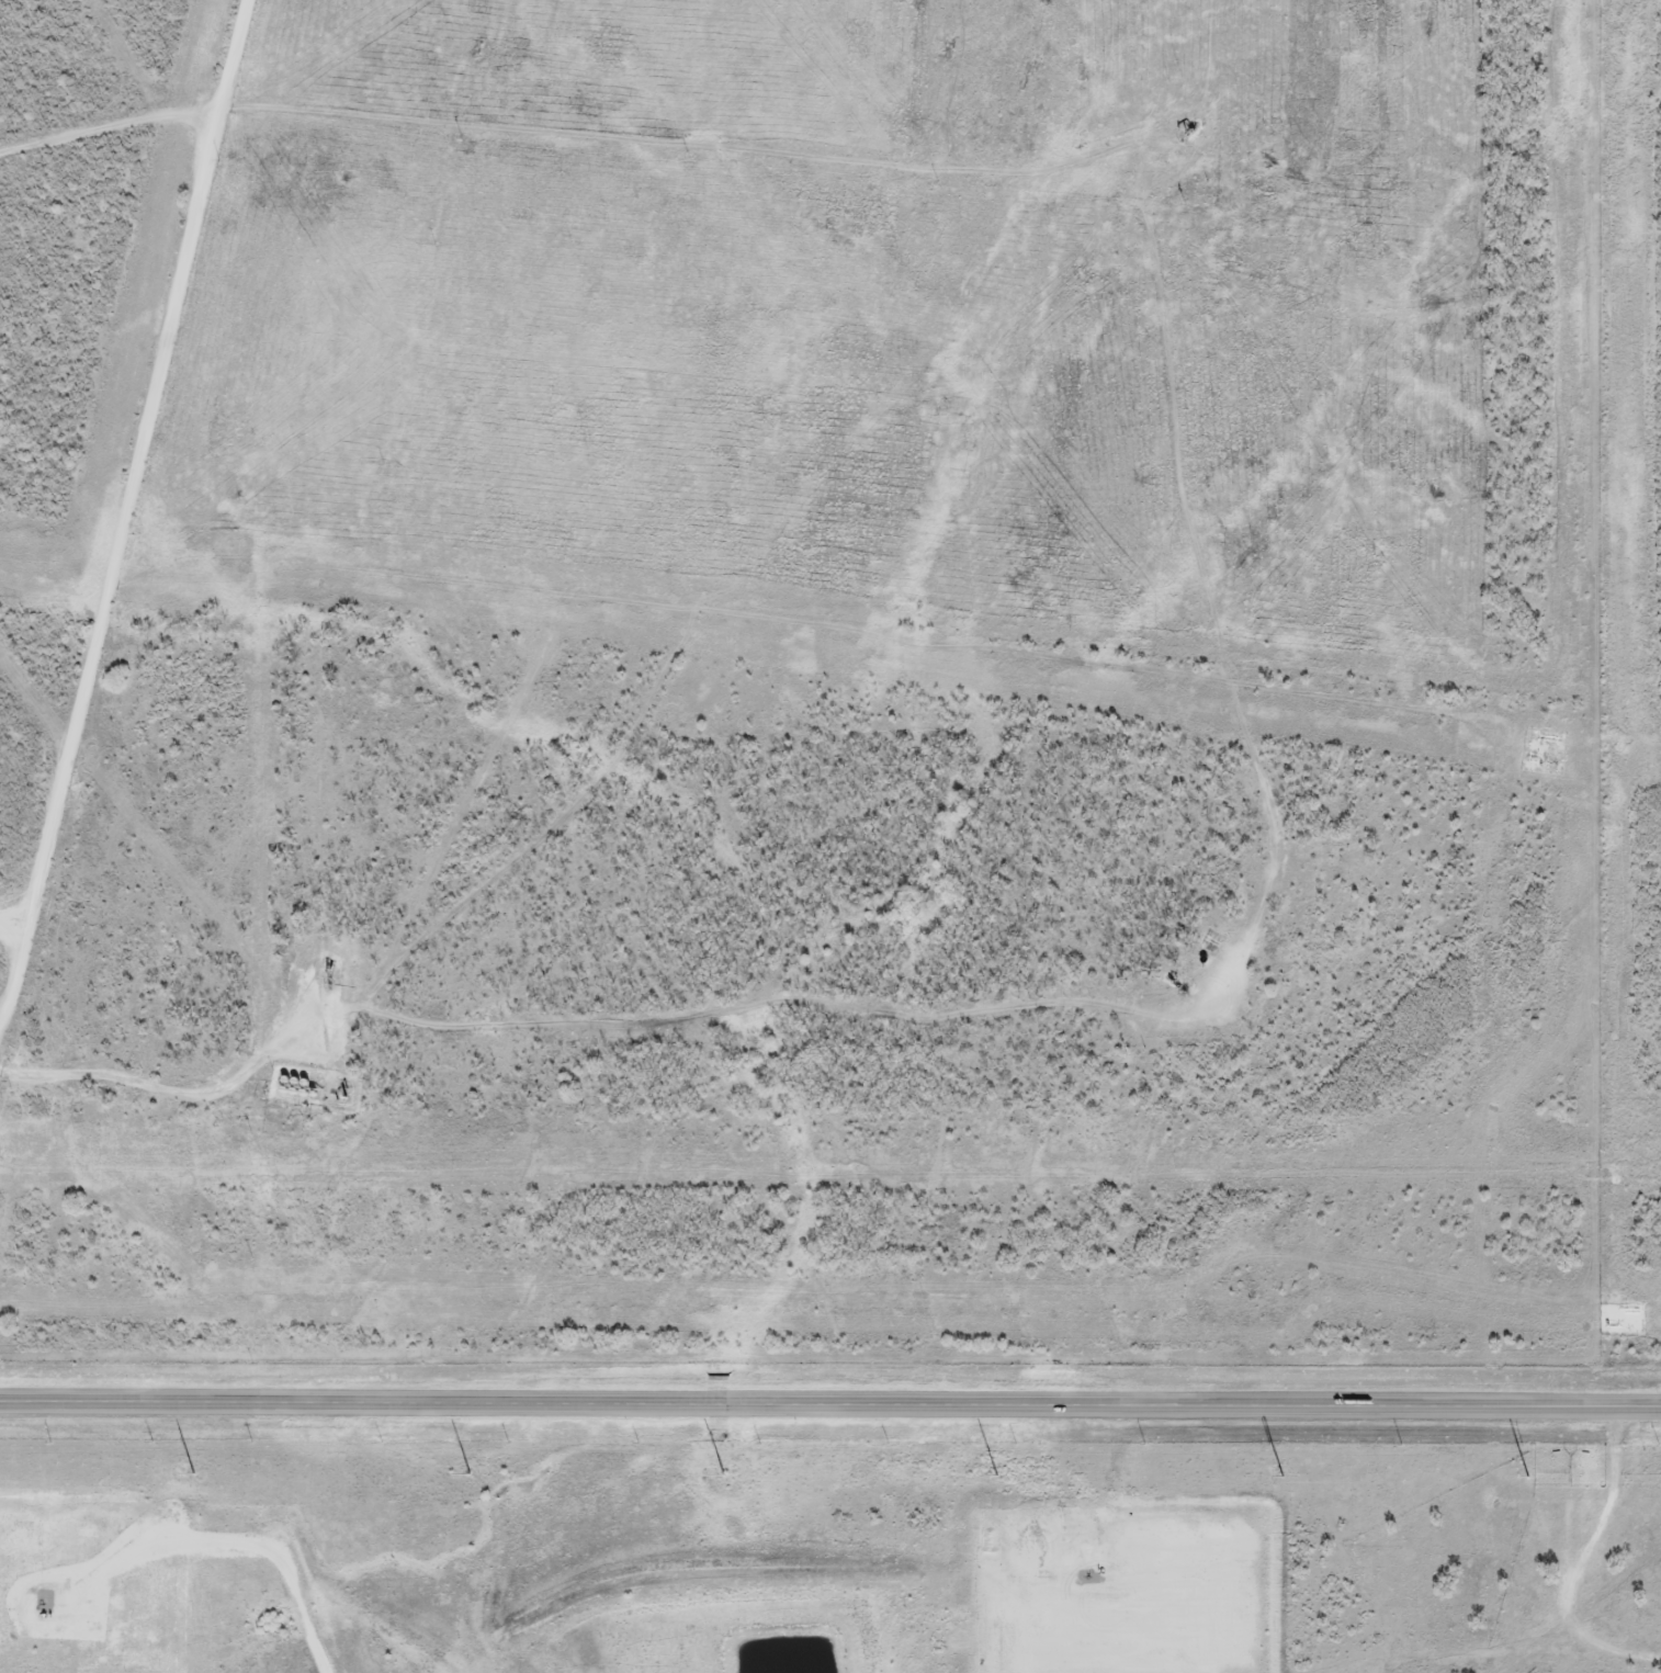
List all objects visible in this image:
road: (830, 1400)
power tower: (193, 1472)
power tower: (471, 1473)
power tower: (723, 1473)
power tower: (996, 1474)
power tower: (1283, 1477)
power tower: (1527, 1477)

